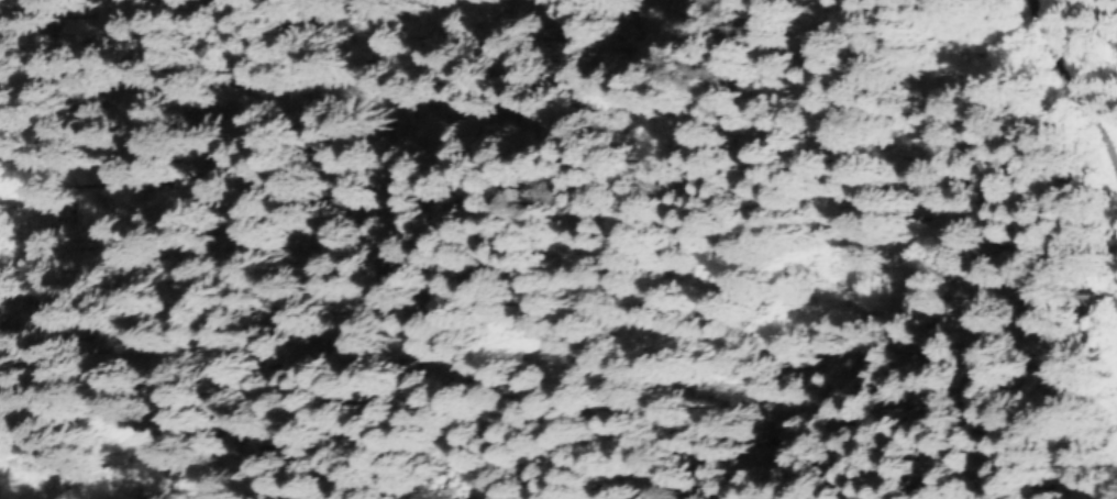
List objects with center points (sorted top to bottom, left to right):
road: (1079, 96)

